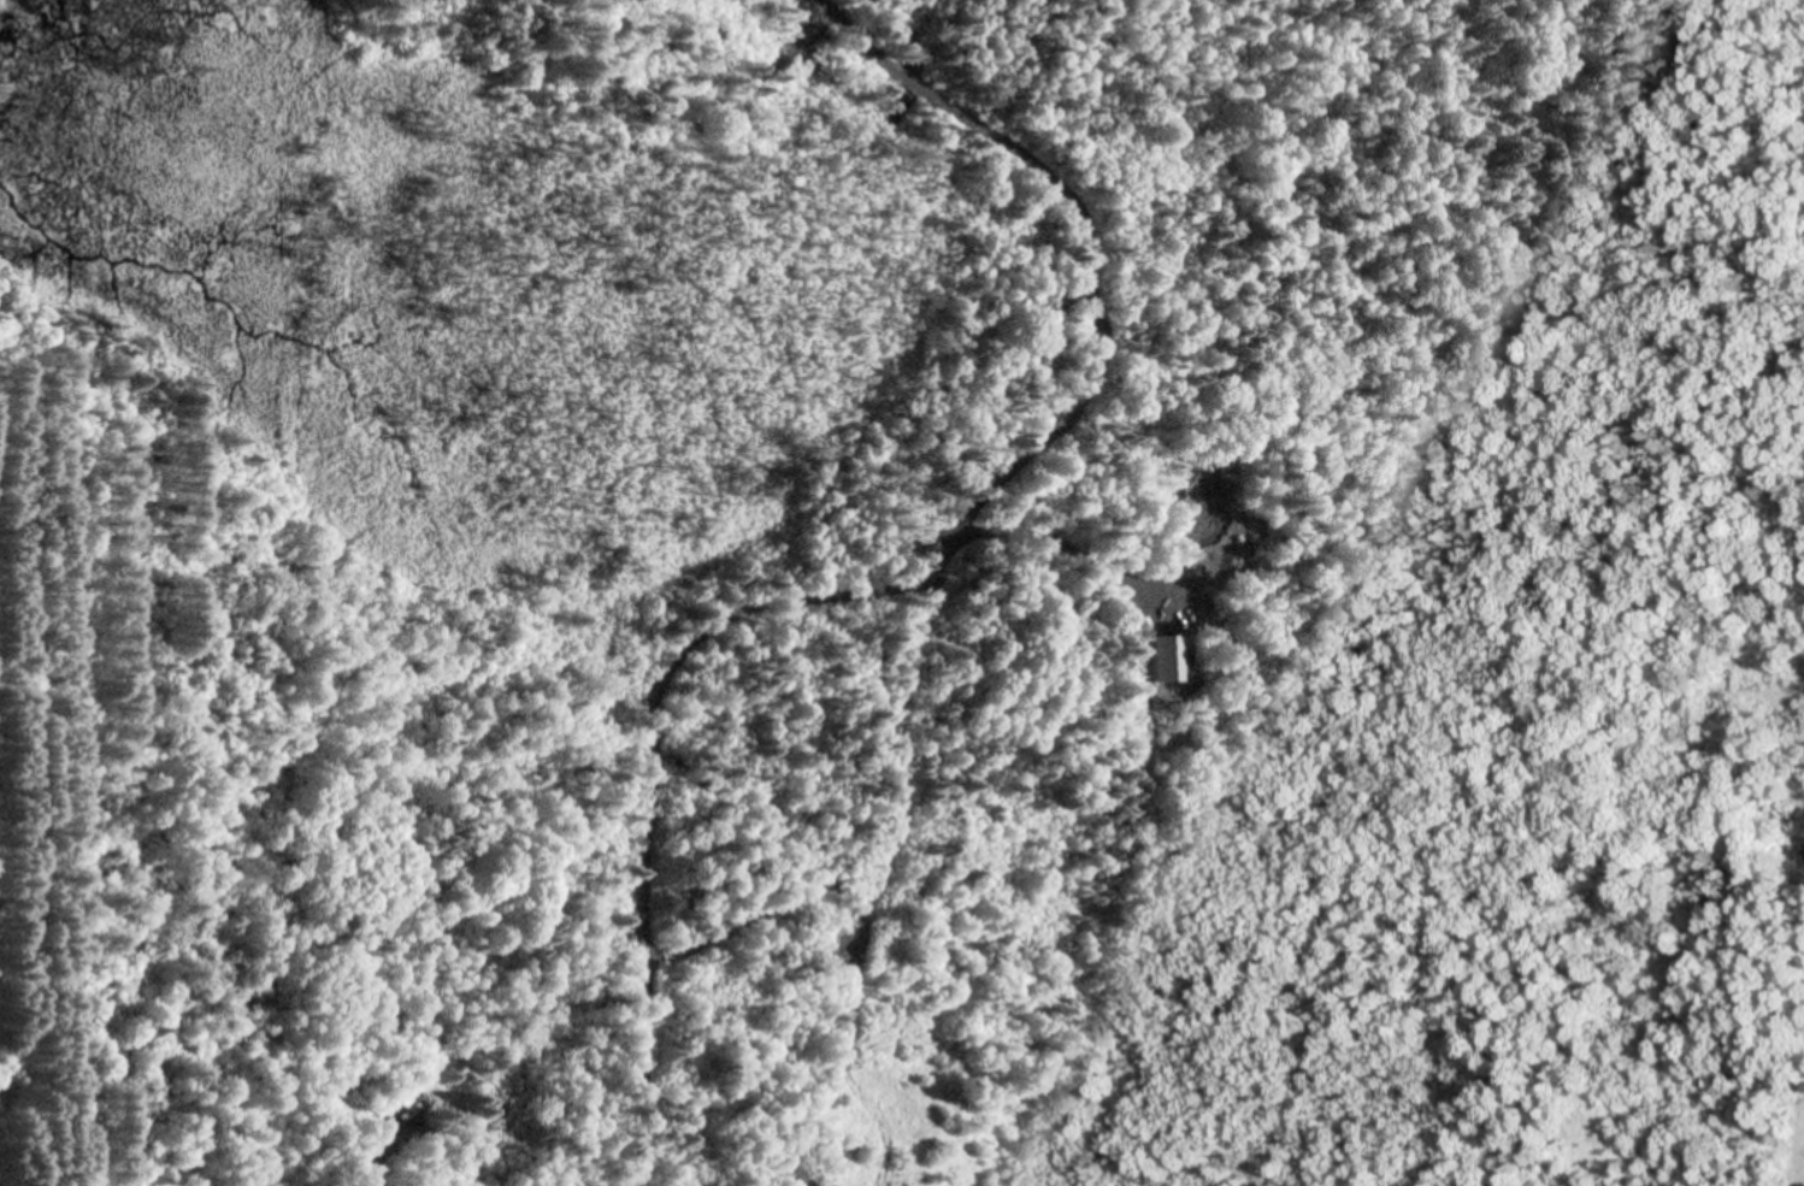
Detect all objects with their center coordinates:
building: (417, 1101)

